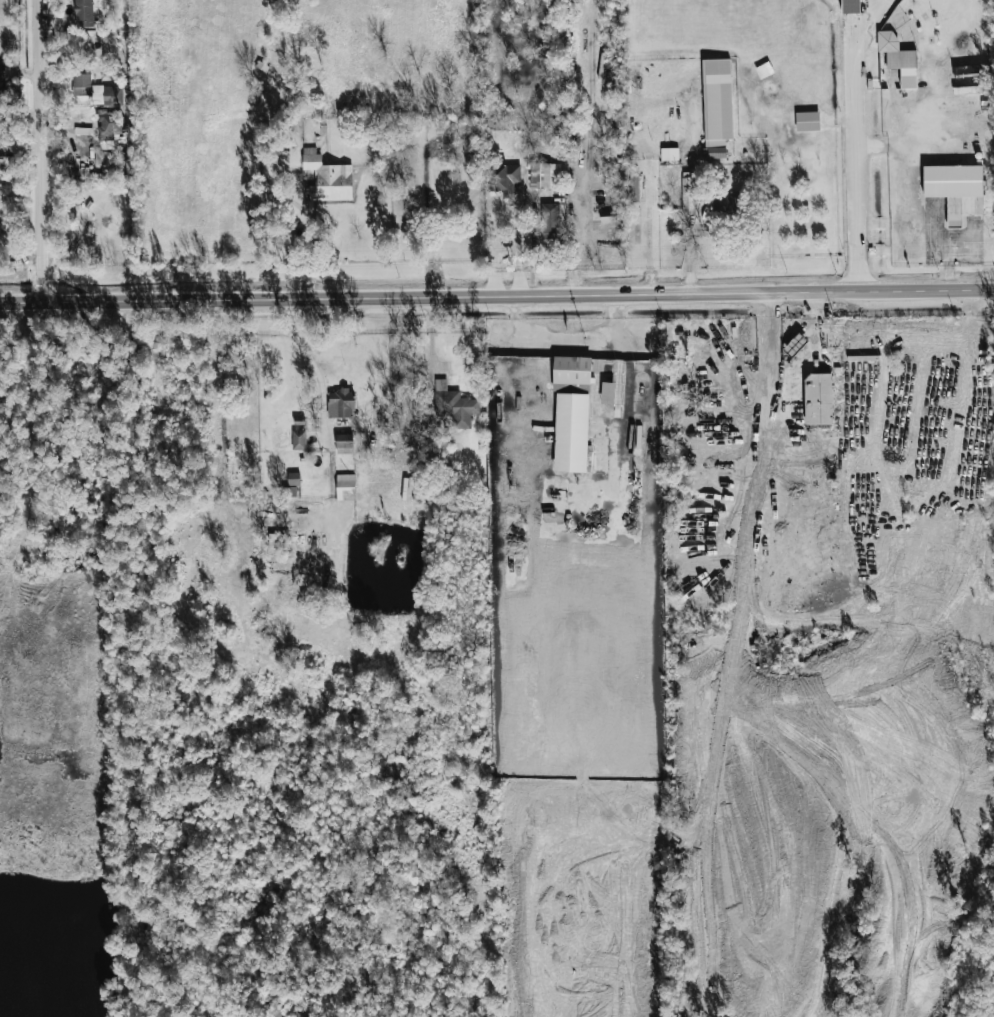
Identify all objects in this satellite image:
building: (83, 13)
road: (863, 16)
building: (899, 58)
building: (2, 78)
building: (95, 91)
building: (716, 107)
building: (807, 121)
building: (109, 125)
road: (855, 146)
building: (443, 148)
road: (36, 151)
building: (669, 154)
building: (544, 175)
building: (327, 178)
building: (503, 178)
building: (956, 189)
building: (726, 203)
building: (549, 221)
road: (572, 245)
road: (517, 249)
road: (491, 260)
road: (945, 262)
road: (497, 297)
road: (569, 343)
road: (622, 349)
road: (312, 365)
road: (769, 366)
building: (572, 370)
building: (607, 393)
road: (615, 393)
road: (626, 393)
building: (817, 399)
building: (341, 404)
building: (453, 405)
building: (571, 433)
building: (298, 440)
building: (343, 441)
building: (293, 479)
building: (345, 487)
building: (290, 492)
road: (611, 492)

